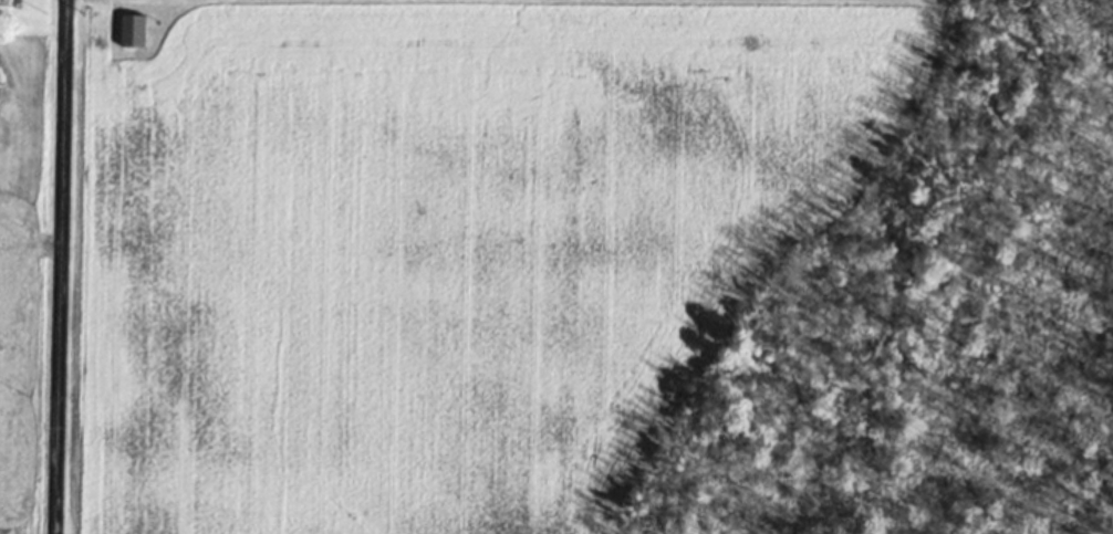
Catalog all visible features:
building: (132, 29)
road: (59, 266)

